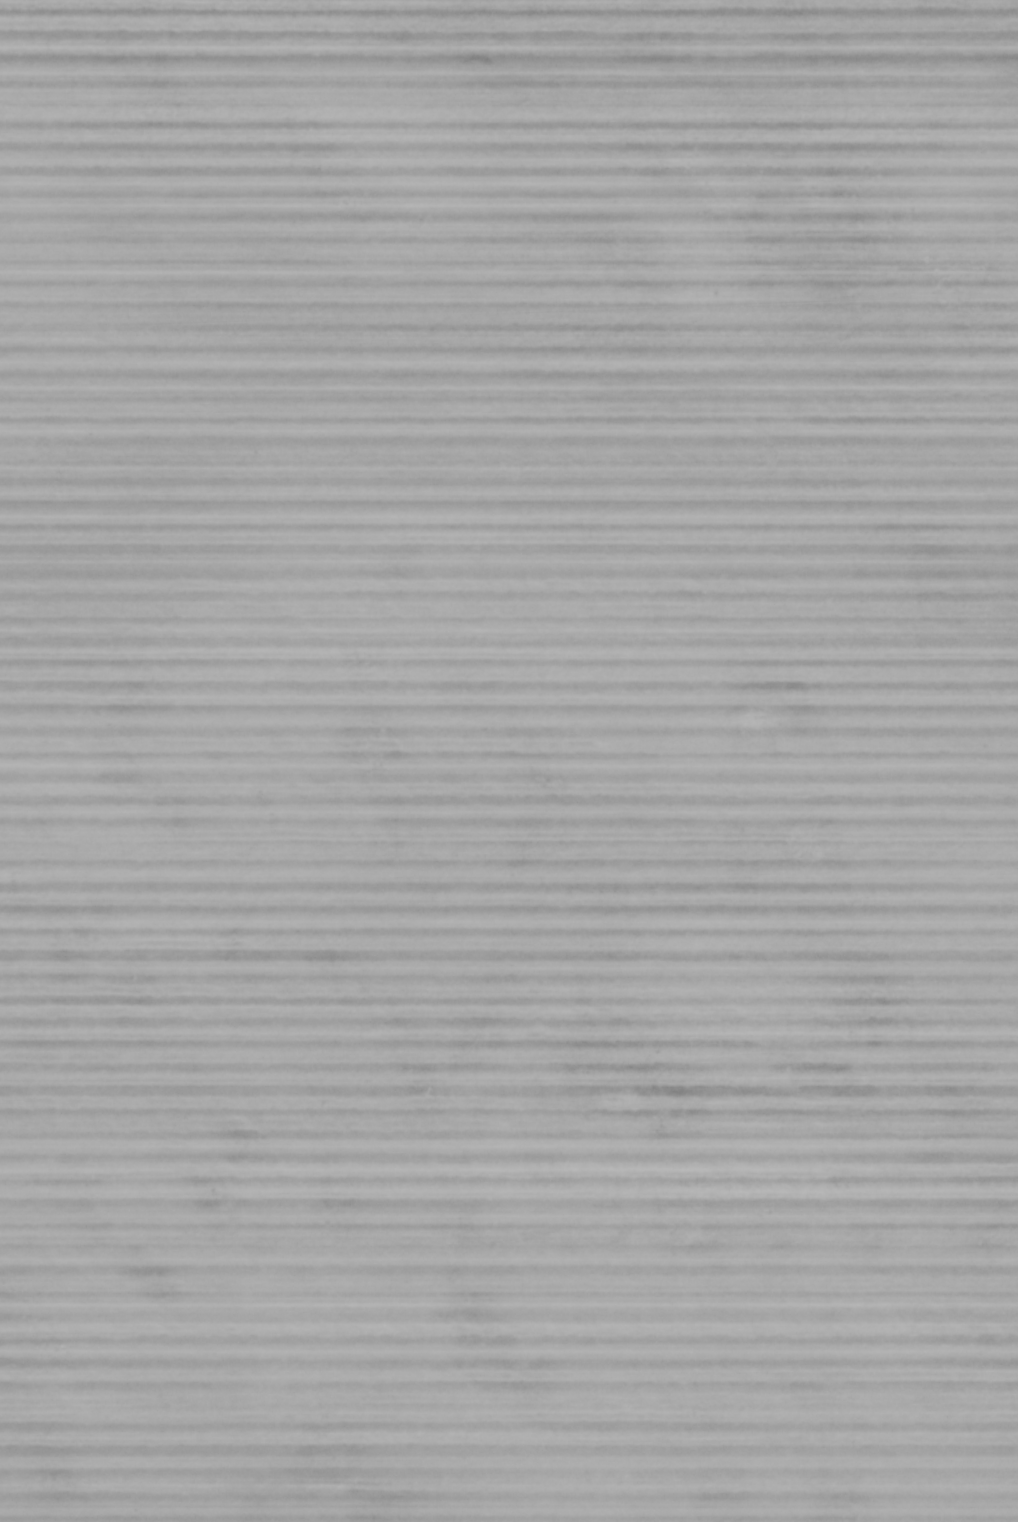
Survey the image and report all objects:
crop: (509, 761)

